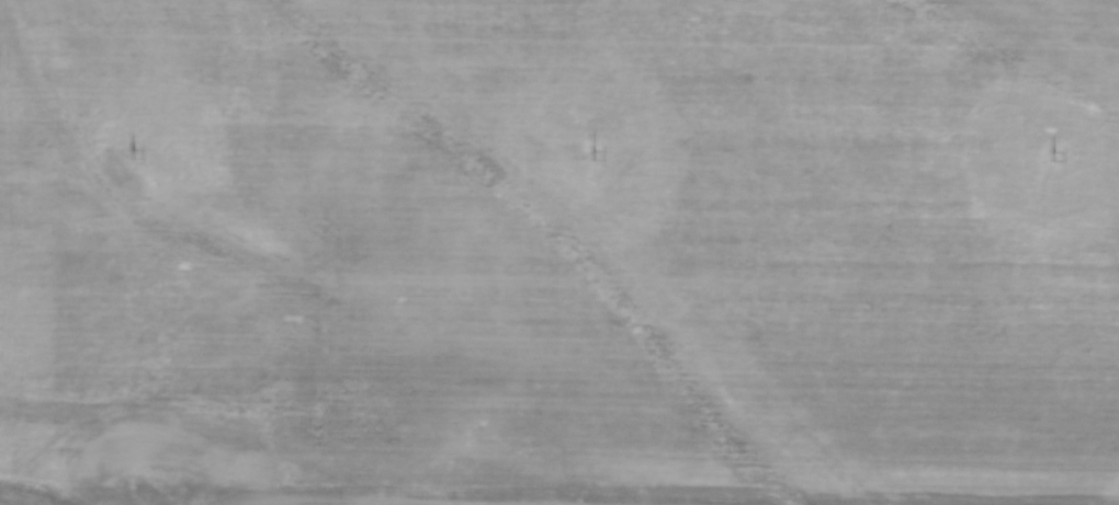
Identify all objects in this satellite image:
power tower: (592, 154)
power tower: (134, 156)
power tower: (1052, 157)
crop: (559, 252)

